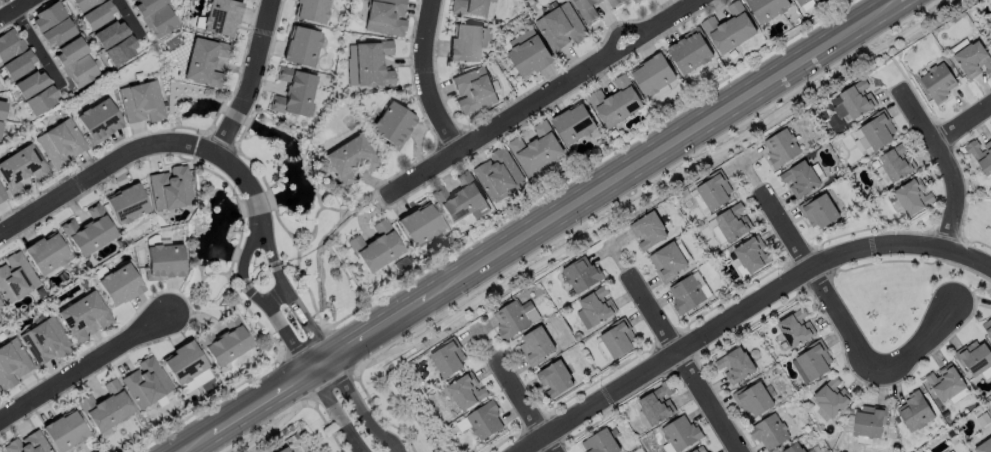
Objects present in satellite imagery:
building: (4, 0)
road: (900, 0)
building: (639, 1)
building: (82, 4)
building: (805, 4)
building: (145, 6)
building: (474, 8)
building: (595, 8)
road: (14, 9)
building: (769, 9)
building: (310, 11)
building: (96, 15)
building: (45, 17)
building: (386, 17)
building: (220, 19)
road: (128, 21)
building: (158, 23)
building: (561, 29)
building: (732, 31)
building: (54, 33)
building: (108, 35)
building: (990, 35)
building: (990, 37)
building: (8, 45)
building: (467, 45)
building: (302, 48)
road: (36, 50)
building: (119, 51)
building: (67, 54)
building: (692, 55)
building: (532, 58)
building: (975, 59)
building: (199, 61)
building: (15, 64)
building: (375, 65)
building: (79, 72)
building: (656, 76)
road: (425, 79)
road: (249, 81)
building: (941, 81)
building: (28, 84)
building: (475, 91)
building: (294, 94)
road: (541, 99)
building: (39, 101)
building: (854, 101)
building: (139, 103)
building: (618, 105)
building: (1, 107)
building: (97, 121)
road: (965, 124)
building: (576, 125)
building: (394, 126)
building: (877, 132)
building: (829, 133)
building: (59, 143)
building: (780, 146)
road: (662, 149)
building: (541, 151)
building: (983, 154)
building: (899, 161)
building: (352, 162)
road: (947, 166)
building: (20, 170)
road: (235, 174)
building: (501, 175)
building: (802, 179)
road: (86, 180)
building: (168, 189)
building: (716, 191)
building: (914, 195)
building: (2, 197)
building: (462, 203)
building: (701, 203)
building: (126, 206)
building: (820, 211)
building: (734, 223)
building: (421, 227)
building: (648, 230)
building: (87, 232)
building: (376, 249)
building: (753, 254)
building: (47, 256)
building: (668, 261)
building: (166, 263)
building: (583, 274)
building: (13, 280)
building: (119, 287)
building: (689, 291)
road: (826, 292)
road: (276, 296)
building: (599, 305)
road: (747, 308)
building: (83, 318)
building: (511, 318)
fountain: (291, 321)
road: (377, 327)
building: (987, 327)
building: (797, 329)
building: (619, 339)
building: (226, 341)
road: (925, 341)
building: (44, 344)
road: (291, 345)
building: (536, 345)
road: (322, 347)
building: (755, 354)
building: (975, 358)
building: (449, 359)
building: (815, 362)
building: (11, 364)
road: (686, 364)
building: (184, 365)
road: (315, 365)
road: (87, 366)
building: (737, 366)
building: (554, 379)
building: (947, 383)
building: (145, 384)
building: (466, 391)
building: (833, 398)
building: (754, 400)
road: (256, 402)
building: (659, 405)
building: (106, 407)
road: (523, 408)
building: (916, 412)
building: (984, 420)
building: (871, 421)
building: (484, 422)
building: (66, 431)
building: (770, 432)
building: (682, 434)
road: (194, 441)
building: (602, 443)
building: (29, 444)
building: (984, 447)
building: (796, 449)
building: (282, 450)
building: (701, 450)
building: (0, 451)

